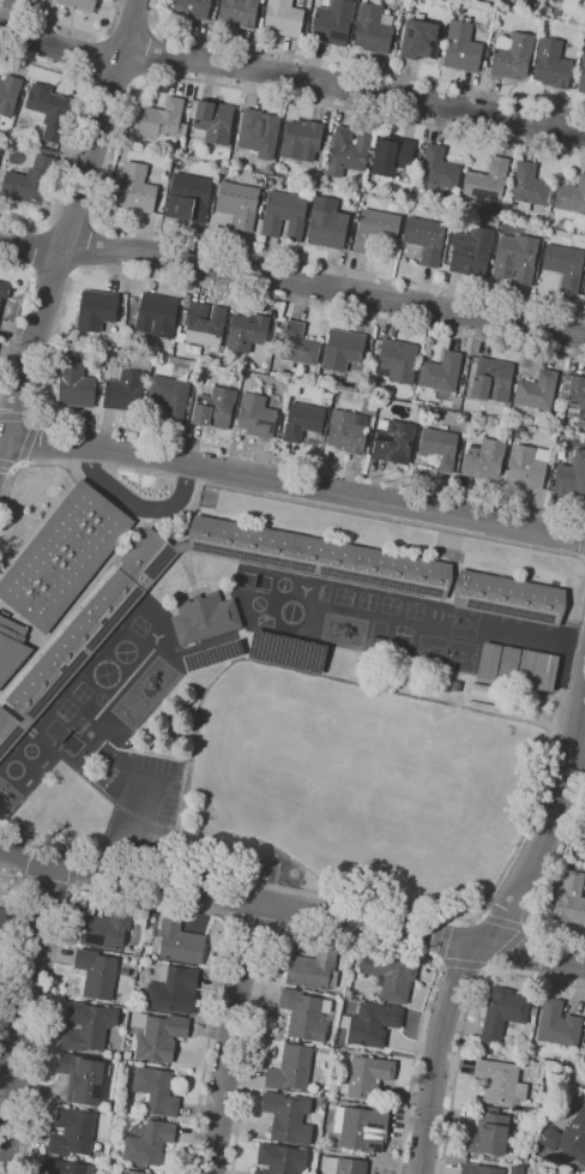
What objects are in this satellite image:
building: (46, 0)
building: (325, 2)
building: (80, 4)
building: (191, 8)
building: (239, 13)
building: (282, 18)
building: (332, 23)
road: (133, 26)
road: (68, 28)
building: (372, 29)
building: (420, 40)
building: (460, 47)
road: (153, 55)
road: (95, 56)
building: (512, 56)
building: (551, 64)
road: (355, 66)
building: (0, 73)
building: (581, 74)
road: (291, 76)
building: (10, 94)
building: (49, 110)
building: (215, 120)
building: (162, 121)
road: (74, 130)
building: (259, 132)
building: (301, 139)
building: (346, 150)
building: (391, 155)
road: (107, 172)
building: (435, 172)
building: (30, 179)
building: (486, 181)
building: (318, 186)
building: (529, 187)
building: (137, 188)
building: (572, 196)
building: (191, 198)
building: (239, 204)
building: (284, 214)
road: (70, 222)
building: (327, 223)
building: (375, 228)
building: (424, 239)
road: (89, 247)
road: (35, 250)
building: (471, 254)
building: (513, 258)
building: (563, 265)
road: (292, 280)
building: (5, 289)
building: (584, 289)
building: (584, 294)
building: (584, 298)
road: (20, 309)
building: (97, 309)
building: (158, 315)
building: (205, 322)
building: (247, 330)
building: (180, 336)
building: (298, 346)
building: (343, 349)
building: (398, 360)
road: (47, 366)
building: (441, 372)
building: (493, 379)
building: (76, 384)
building: (125, 390)
building: (537, 391)
building: (171, 395)
building: (577, 395)
building: (215, 407)
building: (257, 415)
road: (18, 417)
building: (303, 420)
building: (348, 431)
building: (520, 431)
road: (25, 441)
building: (394, 441)
building: (440, 448)
building: (486, 459)
road: (8, 463)
road: (23, 463)
road: (85, 463)
building: (527, 466)
road: (138, 469)
building: (572, 475)
road: (185, 478)
road: (292, 484)
road: (135, 503)
road: (391, 517)
building: (64, 556)
building: (320, 556)
park: (254, 580)
flagpole: (157, 588)
building: (509, 597)
building: (205, 617)
park: (417, 618)
park: (463, 623)
building: (88, 631)
building: (12, 647)
building: (285, 651)
park: (432, 651)
building: (212, 655)
park: (458, 655)
building: (488, 661)
building: (506, 664)
building: (538, 670)
park: (62, 736)
park: (224, 749)
road: (578, 750)
park: (283, 759)
park: (218, 786)
parking lot: (137, 787)
park: (275, 797)
park: (382, 802)
road: (139, 805)
road: (191, 843)
road: (131, 859)
road: (70, 867)
road: (511, 871)
road: (499, 879)
road: (48, 882)
road: (544, 884)
road: (71, 887)
road: (134, 900)
building: (568, 900)
road: (292, 908)
road: (503, 922)
building: (2, 923)
building: (108, 927)
road: (496, 928)
road: (526, 928)
road: (340, 938)
road: (17, 939)
road: (445, 940)
building: (180, 941)
road: (506, 946)
road: (436, 960)
road: (463, 962)
building: (314, 966)
road: (489, 968)
building: (97, 972)
building: (391, 975)
building: (1, 983)
building: (174, 989)
building: (533, 1011)
building: (503, 1012)
building: (306, 1014)
road: (24, 1017)
road: (465, 1022)
building: (374, 1024)
building: (559, 1024)
building: (89, 1026)
building: (158, 1036)
road: (230, 1036)
building: (127, 1054)
road: (8, 1056)
building: (584, 1056)
building: (291, 1067)
building: (367, 1077)
building: (82, 1078)
building: (501, 1083)
building: (156, 1091)
building: (289, 1116)
building: (362, 1127)
building: (73, 1132)
building: (488, 1133)
building: (568, 1137)
building: (147, 1142)
building: (282, 1160)
building: (343, 1166)
building: (67, 1167)
building: (480, 1169)
building: (137, 1172)
building: (580, 1173)

